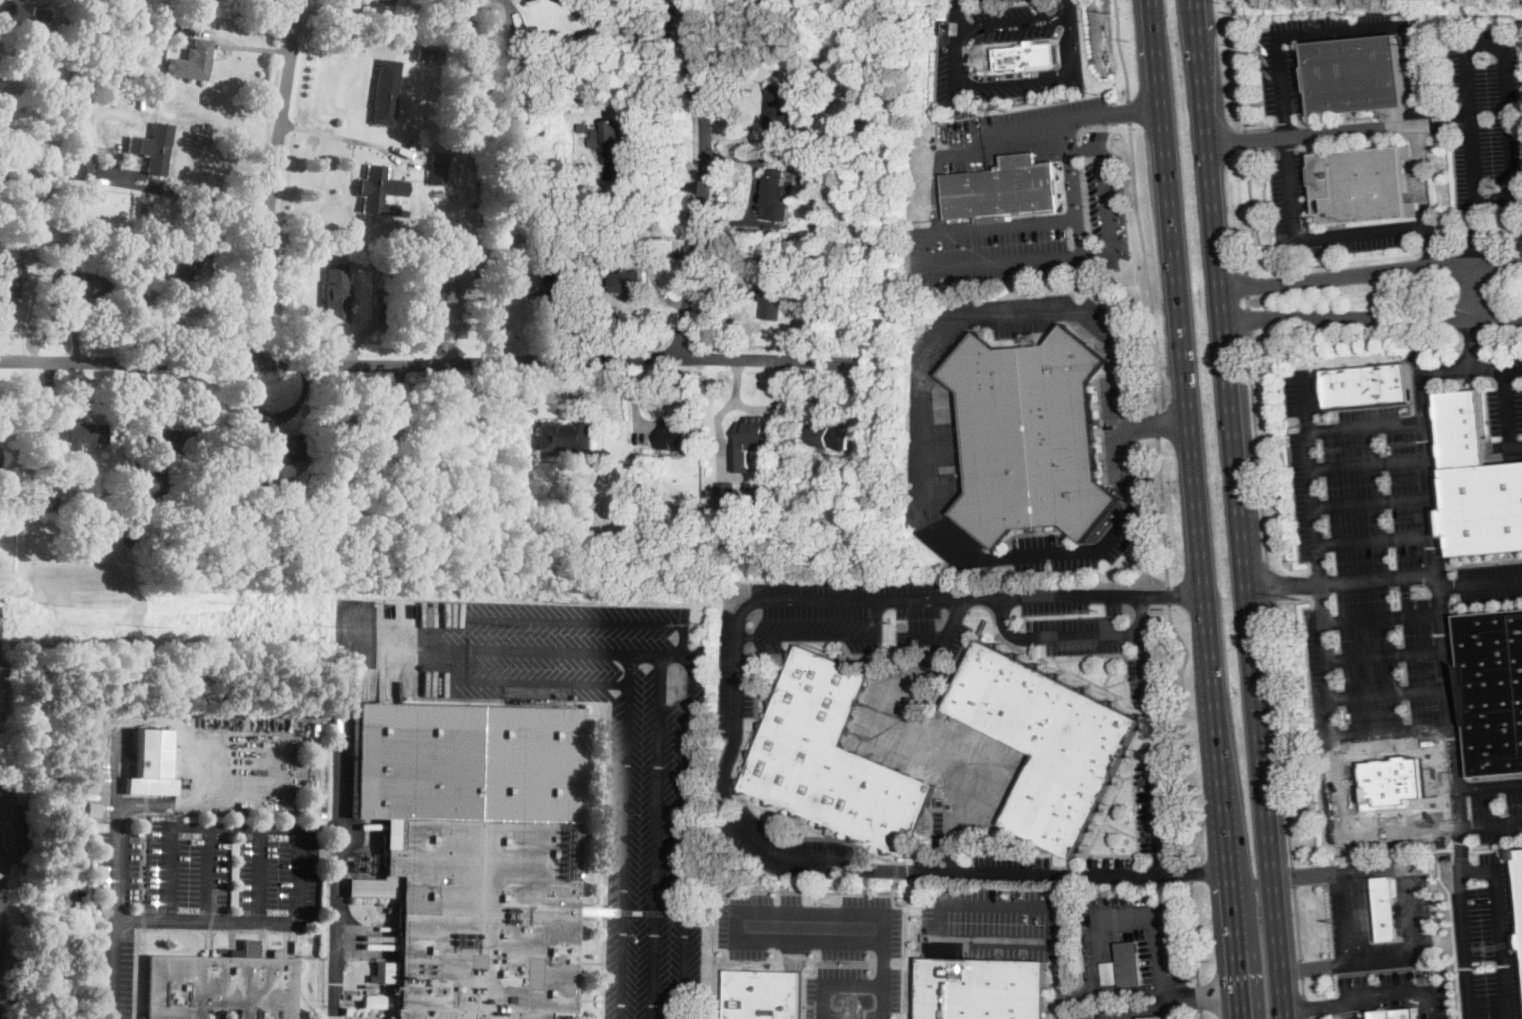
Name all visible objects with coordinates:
building: (182, 1)
building: (382, 1)
building: (81, 7)
building: (22, 15)
building: (491, 16)
building: (943, 16)
road: (1016, 19)
parking lot: (1014, 21)
building: (457, 24)
building: (70, 28)
building: (185, 28)
road: (1347, 31)
road: (341, 34)
road: (1502, 46)
building: (124, 49)
road: (1121, 50)
building: (425, 54)
parking lot: (941, 54)
building: (523, 55)
building: (1026, 57)
building: (193, 61)
road: (1239, 63)
building: (1355, 75)
road: (991, 76)
road: (1010, 80)
parking lot: (1281, 81)
building: (152, 86)
building: (385, 93)
building: (85, 98)
building: (94, 98)
building: (782, 108)
road: (1136, 109)
road: (1129, 111)
parking lot: (1486, 115)
building: (83, 121)
road: (1443, 124)
road: (1382, 127)
parking lot: (1015, 131)
road: (343, 136)
road: (1244, 136)
building: (610, 139)
road: (964, 141)
building: (153, 149)
building: (424, 149)
building: (82, 162)
building: (438, 168)
road: (703, 178)
road: (272, 180)
road: (655, 182)
building: (1363, 182)
building: (379, 190)
road: (754, 190)
building: (1004, 190)
road: (188, 192)
building: (437, 192)
building: (47, 196)
building: (777, 197)
building: (32, 202)
parking lot: (1286, 205)
road: (1250, 208)
building: (144, 210)
building: (25, 212)
building: (403, 212)
building: (14, 217)
building: (48, 230)
parking lot: (1034, 230)
building: (142, 234)
road: (1310, 234)
road: (1078, 238)
building: (872, 239)
building: (18, 246)
building: (450, 248)
road: (209, 251)
road: (928, 257)
building: (464, 262)
building: (475, 262)
road: (1146, 267)
building: (180, 271)
road: (1372, 272)
building: (629, 280)
building: (82, 283)
building: (537, 284)
road: (1474, 284)
building: (8, 287)
building: (432, 292)
building: (336, 293)
road: (23, 294)
building: (380, 295)
building: (774, 296)
road: (1246, 300)
building: (373, 312)
building: (384, 313)
parking lot: (1040, 316)
road: (1373, 318)
road: (433, 362)
road: (1439, 369)
road: (1513, 369)
building: (1368, 386)
road: (1122, 391)
road: (1302, 400)
parking lot: (1507, 406)
road: (1508, 412)
road: (1155, 423)
road: (1157, 426)
parking lot: (1124, 427)
building: (357, 432)
building: (78, 435)
building: (677, 435)
building: (828, 436)
building: (1031, 436)
building: (565, 437)
building: (753, 439)
building: (173, 441)
building: (281, 446)
road: (1257, 446)
building: (411, 458)
road: (1369, 462)
building: (410, 469)
building: (884, 477)
road: (933, 478)
building: (1476, 483)
building: (260, 484)
parking lot: (1362, 484)
road: (1277, 485)
building: (194, 492)
building: (726, 492)
building: (150, 493)
road: (1372, 499)
building: (50, 503)
road: (1193, 509)
road: (1242, 509)
road: (1164, 513)
building: (128, 534)
building: (574, 537)
road: (1375, 537)
parking lot: (1074, 546)
road: (1437, 572)
road: (1420, 577)
road: (1283, 582)
road: (1269, 583)
power tower: (1419, 590)
road: (1171, 594)
road: (1170, 595)
power tower: (1300, 598)
power tower: (1097, 608)
road: (1142, 611)
road: (1381, 613)
parking lot: (856, 615)
parking lot: (1071, 616)
power tower: (890, 619)
power tower: (690, 623)
power tower: (147, 625)
power tower: (329, 625)
power tower: (508, 625)
road: (947, 631)
road: (826, 633)
road: (930, 633)
parking lot: (1390, 643)
road: (556, 648)
road: (1384, 651)
building: (336, 666)
parking lot: (733, 666)
parking lot: (1147, 676)
building: (0, 677)
road: (540, 680)
building: (1491, 690)
road: (1388, 692)
road: (690, 711)
parking lot: (890, 711)
road: (1186, 733)
road: (1279, 734)
building: (1047, 742)
road: (879, 746)
parking lot: (609, 760)
building: (832, 760)
building: (150, 763)
building: (1390, 773)
road: (977, 777)
road: (1308, 783)
road: (1459, 784)
parking lot: (1156, 800)
parking lot: (1497, 807)
park: (3, 813)
road: (338, 823)
road: (1460, 827)
road: (1378, 833)
road: (625, 834)
road: (656, 835)
parking lot: (783, 845)
road: (301, 849)
building: (473, 855)
road: (849, 864)
parking lot: (1053, 868)
road: (894, 869)
road: (208, 870)
road: (1194, 870)
road: (259, 871)
parking lot: (209, 872)
road: (1311, 872)
road: (1192, 874)
road: (1293, 874)
building: (1518, 886)
road: (893, 896)
road: (1002, 906)
building: (1386, 908)
building: (596, 910)
road: (889, 910)
road: (1410, 911)
road: (116, 912)
road: (738, 912)
parking lot: (1350, 913)
parking lot: (1406, 914)
road: (1352, 915)
parking lot: (994, 921)
road: (1297, 922)
road: (1498, 927)
road: (1160, 929)
parking lot: (1484, 931)
road: (1196, 934)
road: (1463, 944)
parking lot: (825, 946)
road: (1062, 963)
building: (1128, 965)
road: (1320, 965)
road: (1301, 968)
building: (1109, 972)
parking lot: (112, 973)
road: (884, 980)
road: (835, 983)
building: (221, 985)
road: (1302, 985)
road: (1404, 987)
building: (983, 989)
building: (388, 992)
parking lot: (1393, 992)
building: (764, 994)
road: (1200, 999)
road: (1396, 999)
road: (1168, 1002)
road: (1317, 1005)
road: (1303, 1006)
road: (1181, 1010)
road: (1348, 1010)
building: (347, 1012)
road: (1347, 1012)
building: (220, 1013)
parking lot: (1348, 1013)
building: (1399, 1013)
road: (1202, 1015)
road: (1326, 1015)
building: (1156, 1017)
parking lot: (369, 1018)
parking lot: (1366, 1018)

